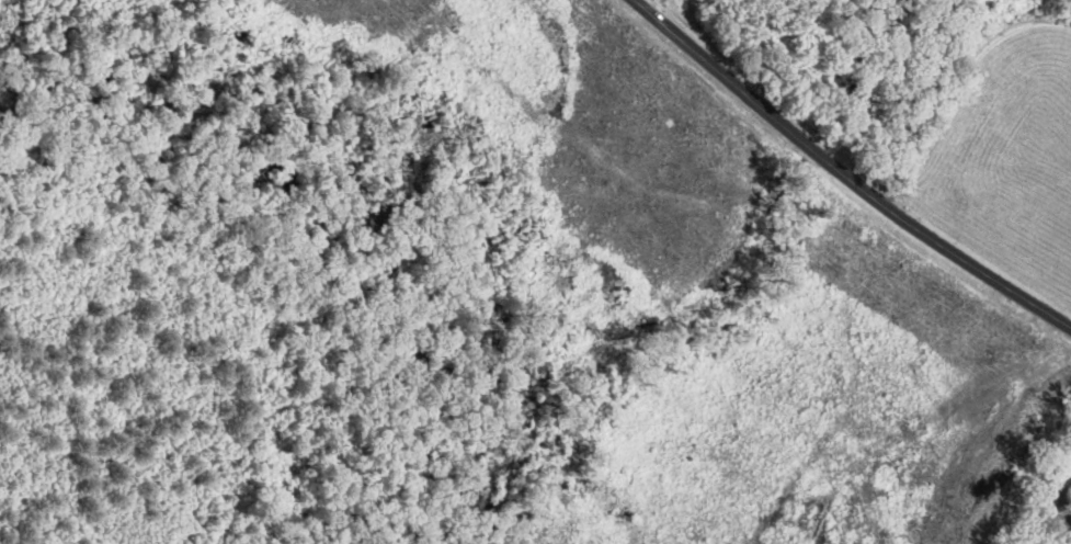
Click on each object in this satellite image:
road: (844, 175)

